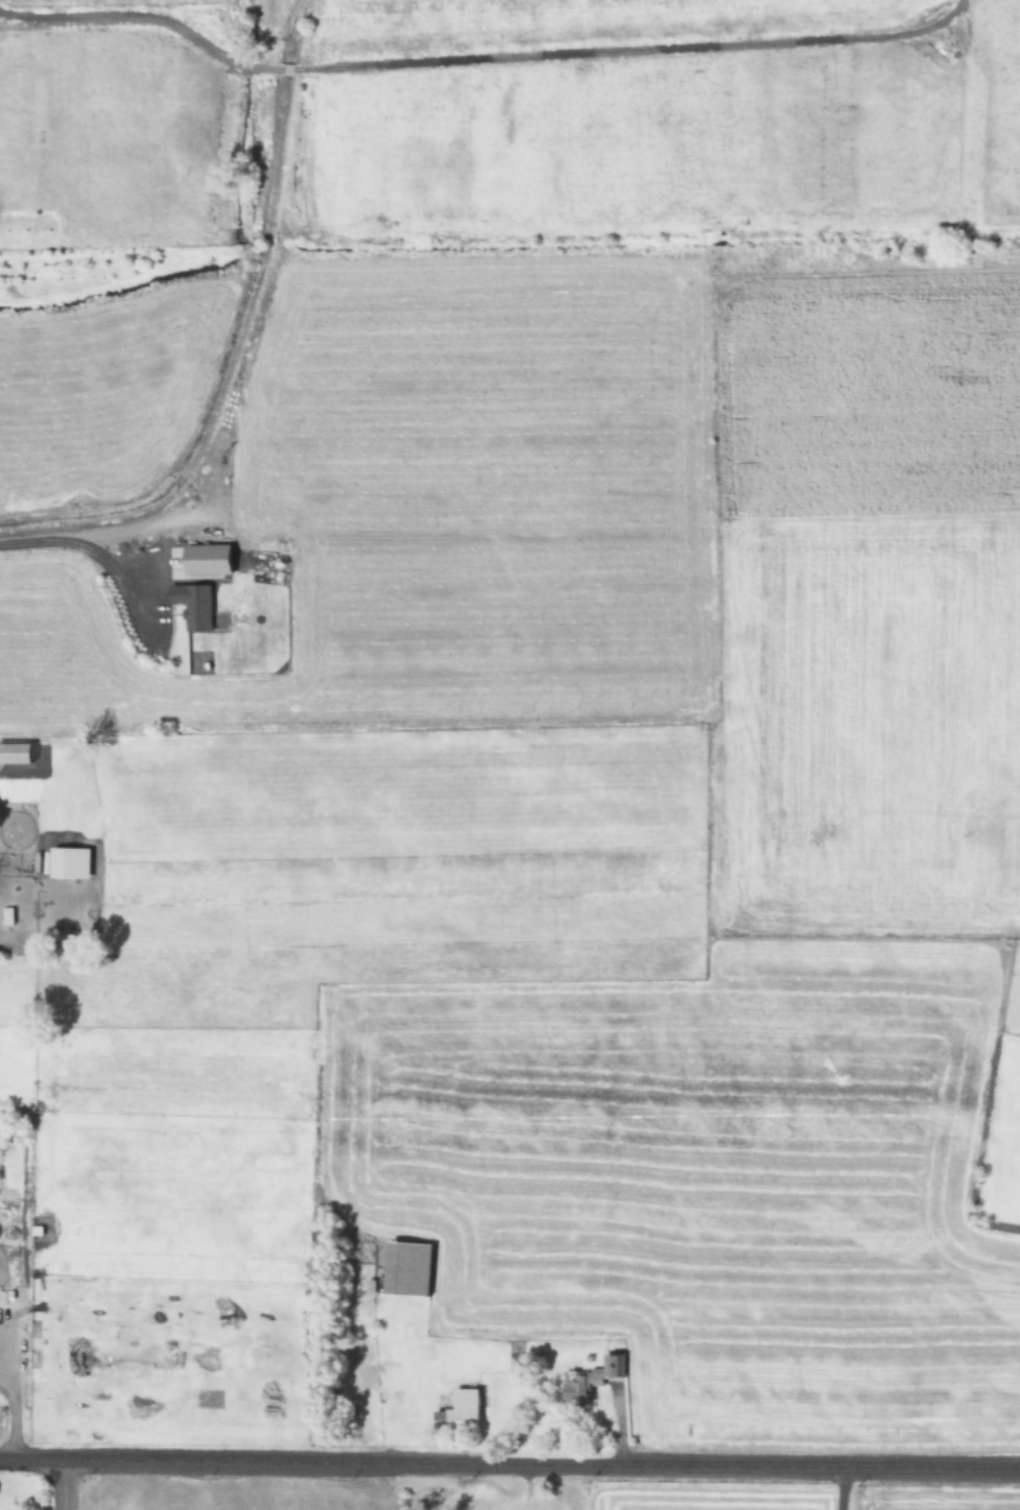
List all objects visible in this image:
building: (70, 863)
building: (9, 917)
building: (408, 1268)
building: (612, 1354)
building: (582, 1386)
building: (462, 1408)
road: (34, 1462)
road: (543, 1466)
road: (67, 1486)

